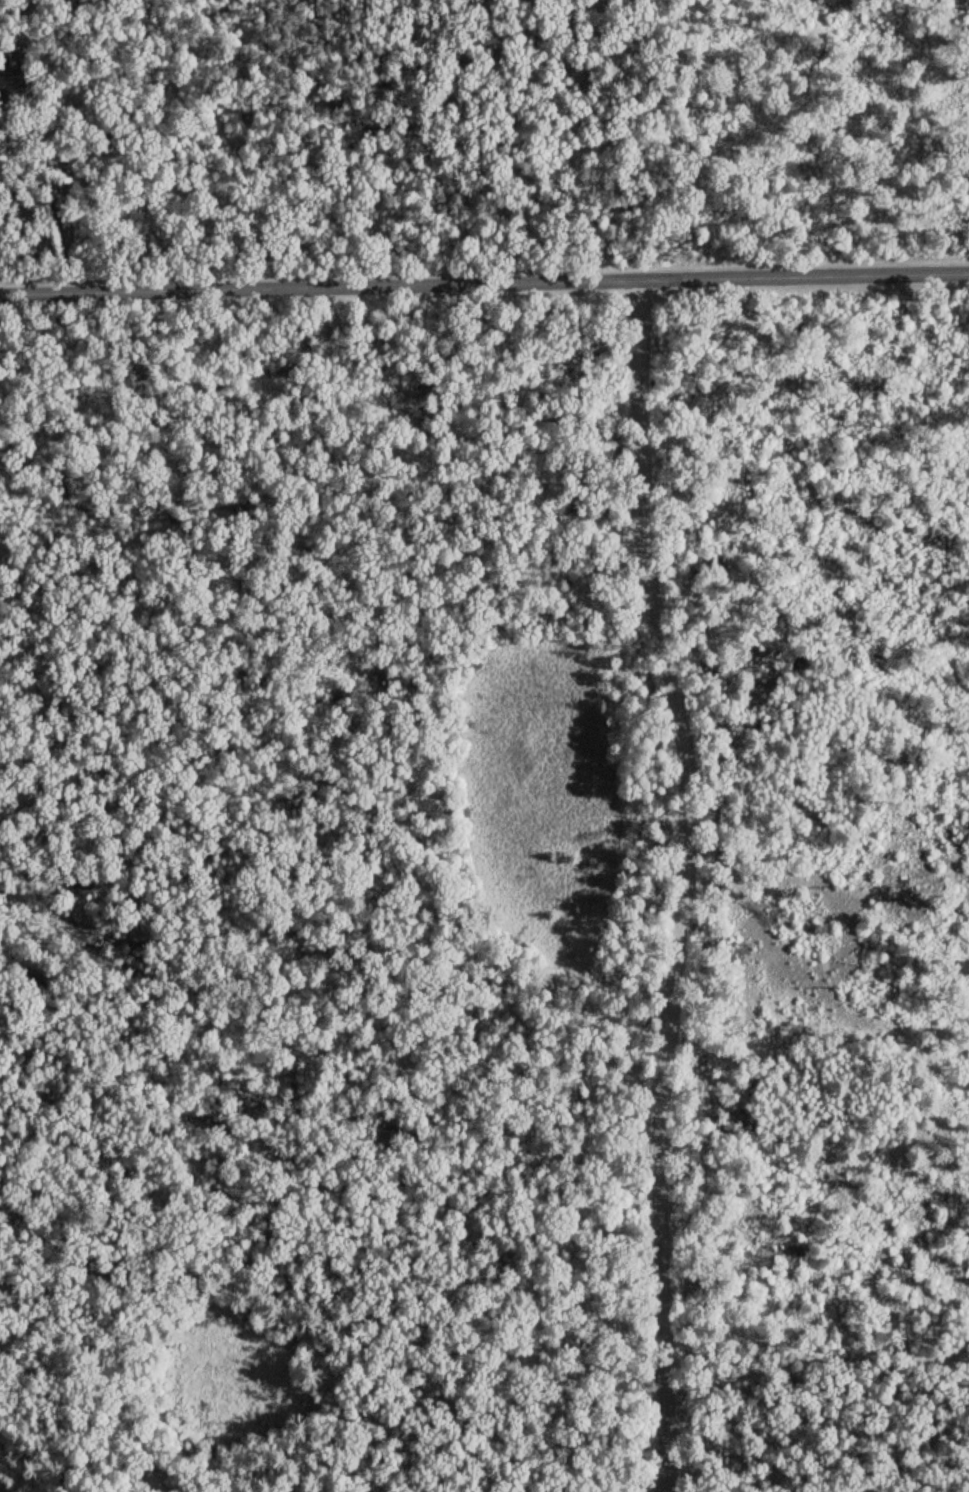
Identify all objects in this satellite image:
road: (396, 142)
road: (149, 145)
road: (484, 282)
road: (827, 796)
road: (683, 878)
road: (815, 1443)
road: (519, 1444)
road: (655, 1487)

